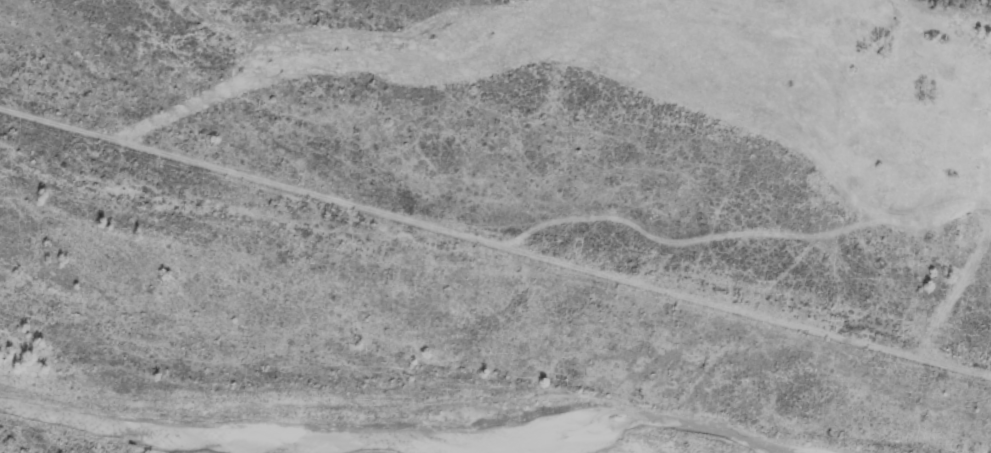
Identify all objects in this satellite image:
river: (399, 441)

